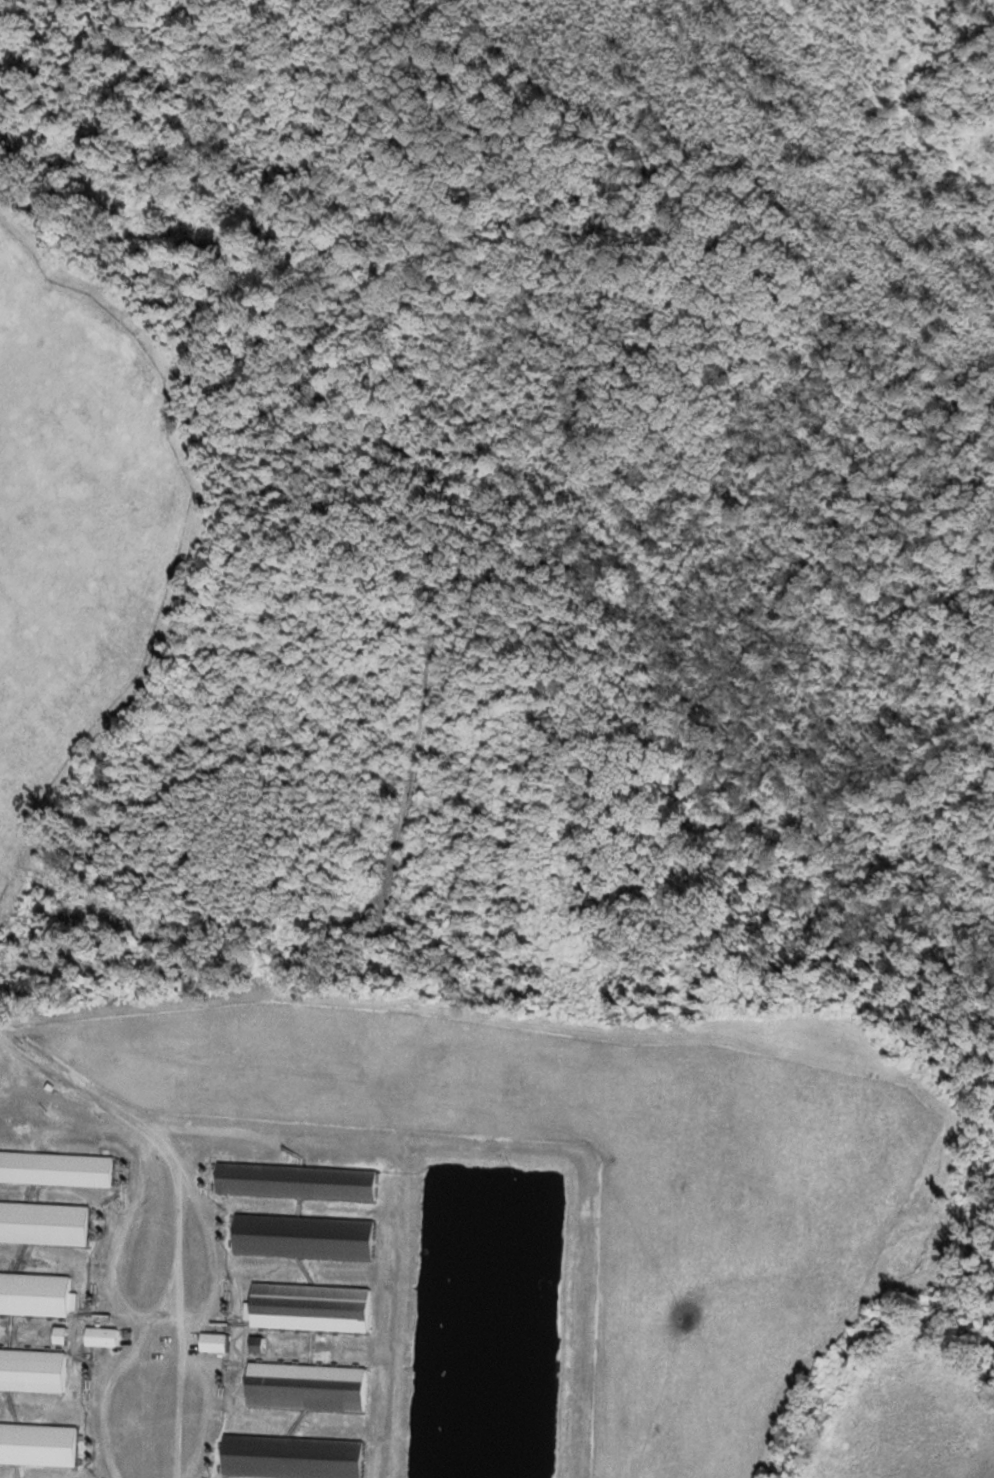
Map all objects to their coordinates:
road: (82, 1089)
building: (58, 1168)
building: (298, 1180)
building: (45, 1222)
building: (305, 1236)
building: (37, 1293)
building: (312, 1306)
building: (103, 1335)
building: (217, 1341)
building: (259, 1343)
building: (34, 1369)
building: (308, 1386)
building: (39, 1443)
building: (293, 1456)

